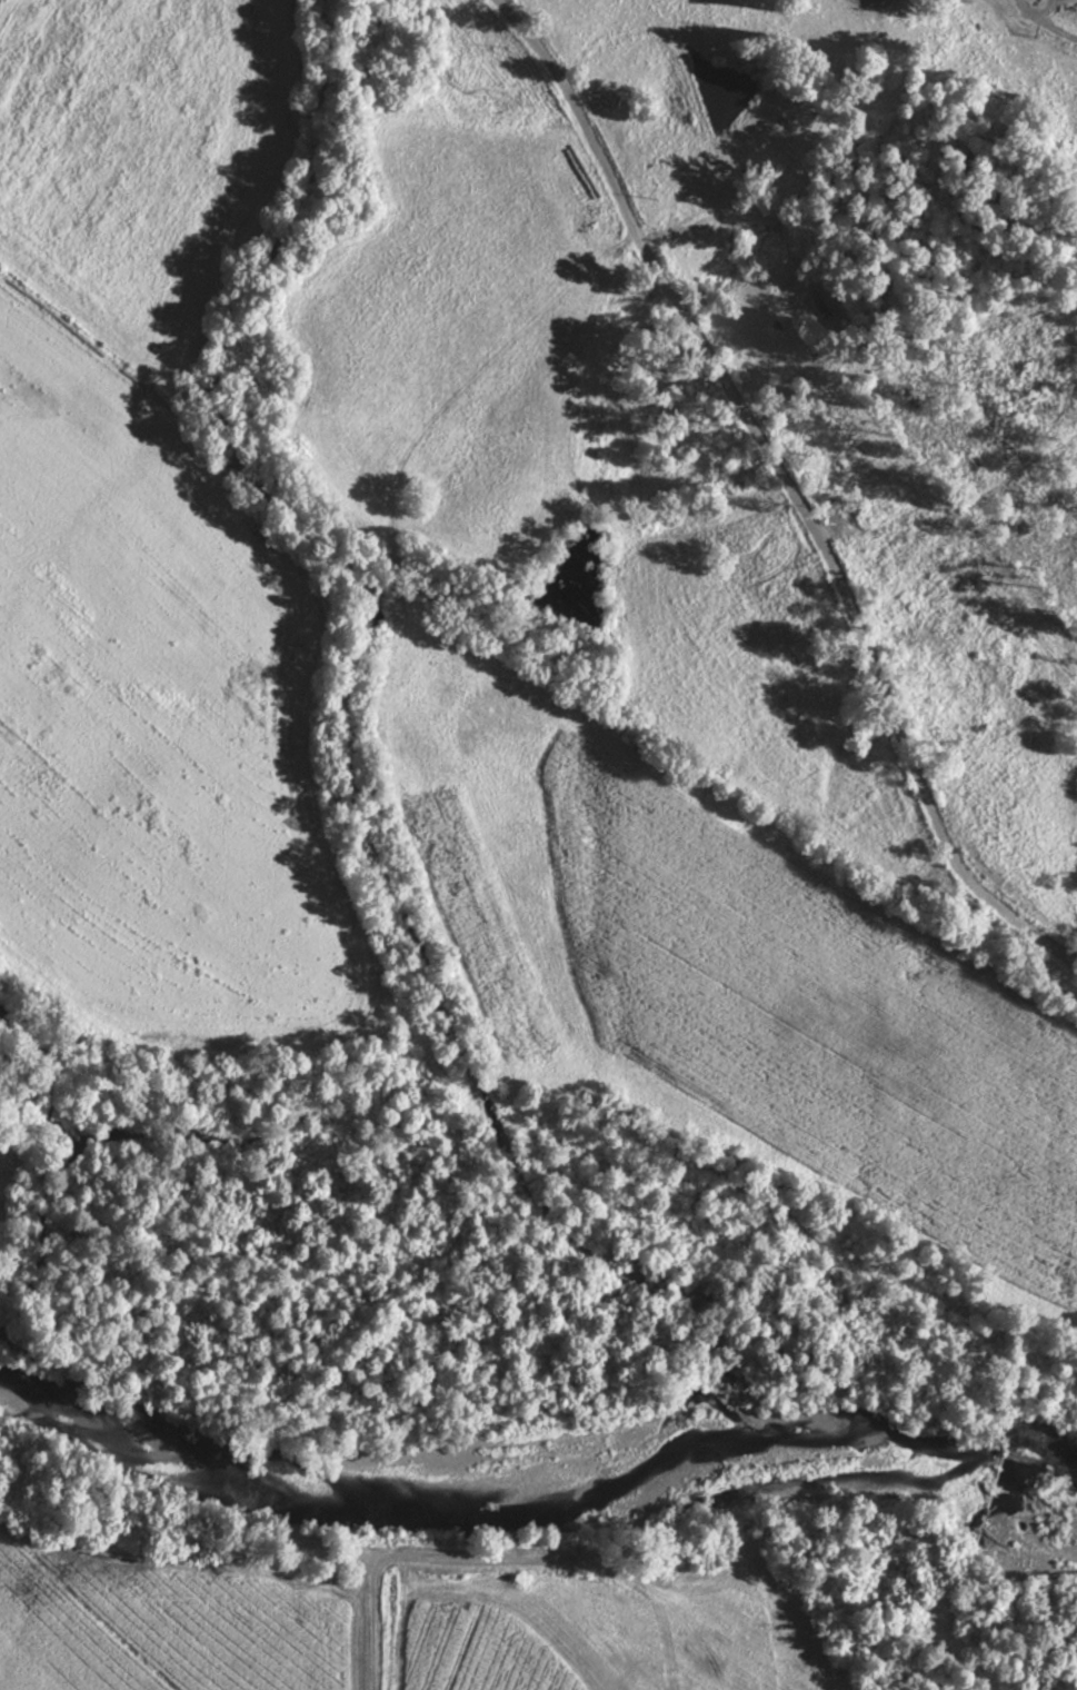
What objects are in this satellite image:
road: (785, 489)
river: (531, 1454)

